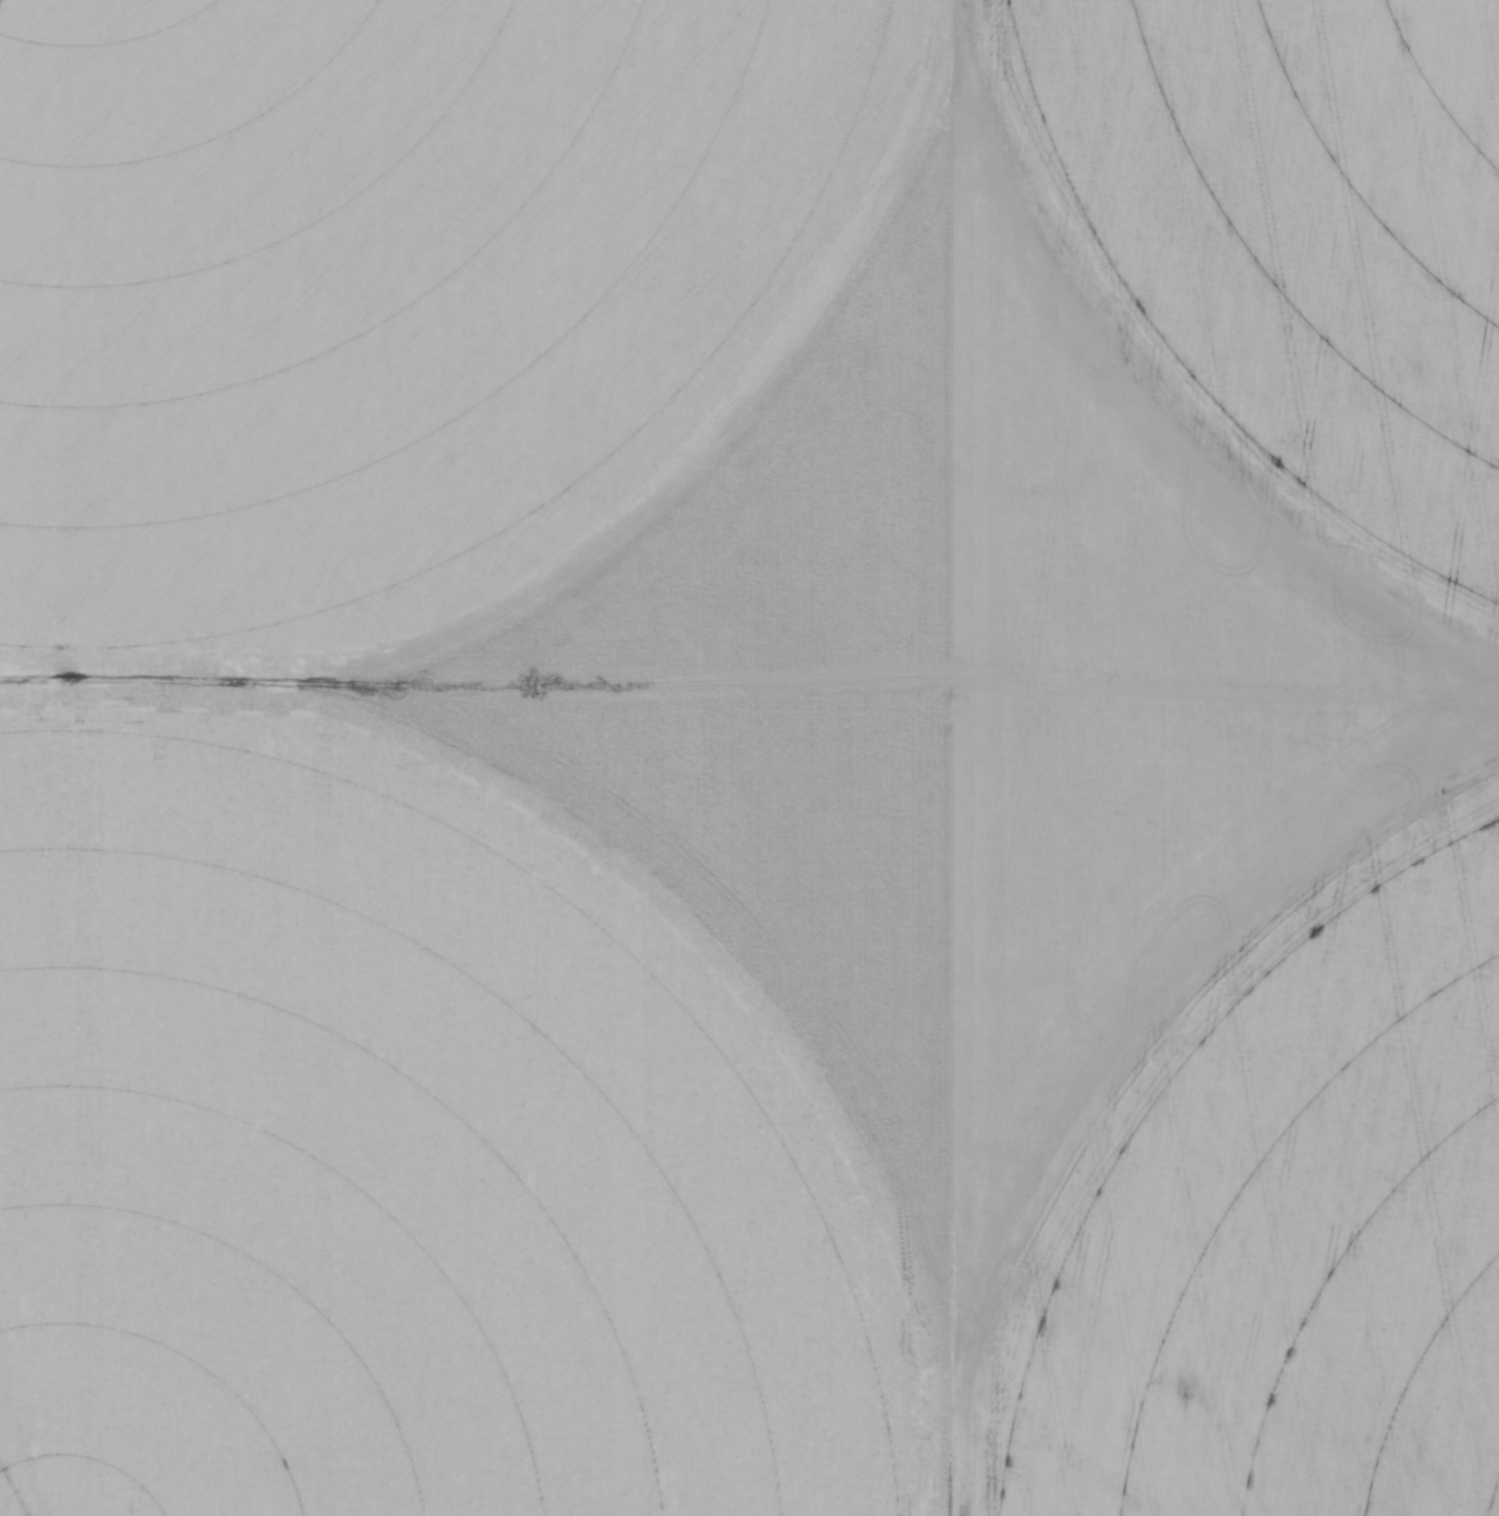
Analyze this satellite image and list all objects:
crop: (749, 758)

